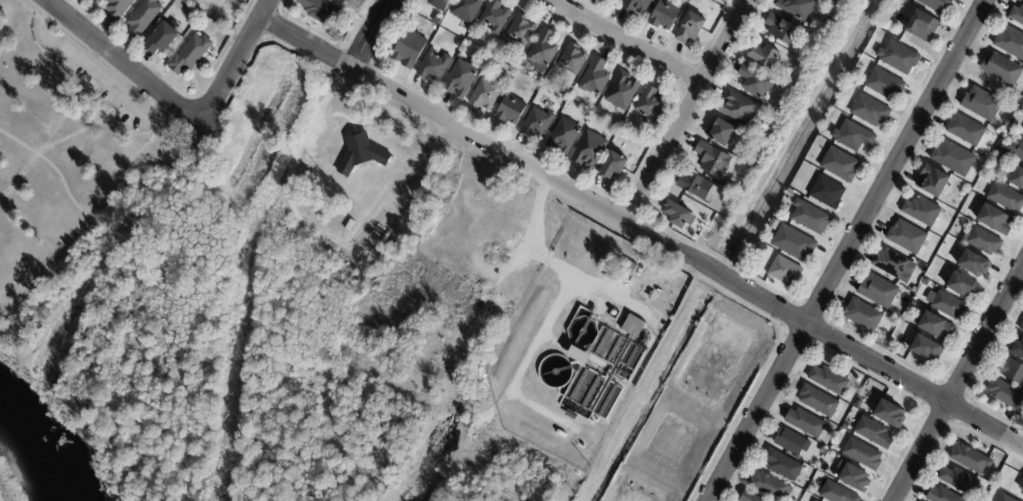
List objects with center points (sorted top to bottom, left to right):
building: (616, 0)
building: (329, 1)
building: (440, 3)
building: (935, 4)
building: (636, 6)
building: (120, 9)
building: (796, 9)
building: (465, 10)
building: (319, 13)
building: (1016, 14)
building: (663, 17)
building: (494, 18)
building: (146, 19)
building: (832, 23)
building: (921, 27)
building: (691, 29)
building: (781, 29)
building: (519, 31)
road: (367, 34)
building: (430, 37)
building: (469, 37)
building: (167, 38)
road: (626, 42)
building: (1010, 42)
road: (304, 43)
building: (409, 50)
building: (542, 52)
building: (194, 56)
building: (764, 56)
building: (897, 59)
building: (573, 60)
road: (120, 63)
road: (233, 63)
building: (432, 67)
building: (1001, 69)
road: (91, 71)
building: (459, 79)
building: (593, 79)
building: (753, 83)
building: (883, 85)
building: (621, 92)
building: (565, 93)
building: (485, 94)
building: (981, 103)
building: (649, 106)
road: (64, 109)
building: (737, 109)
road: (685, 110)
building: (510, 111)
building: (869, 112)
building: (536, 124)
building: (1012, 125)
building: (965, 129)
building: (719, 134)
building: (1009, 134)
building: (749, 137)
building: (852, 137)
road: (57, 138)
building: (562, 138)
park: (55, 148)
building: (1015, 150)
building: (588, 152)
building: (360, 153)
building: (953, 158)
road: (122, 160)
building: (711, 161)
building: (998, 162)
building: (839, 166)
building: (612, 167)
building: (1016, 176)
building: (932, 182)
building: (694, 186)
building: (826, 194)
building: (1005, 197)
building: (921, 211)
road: (536, 214)
building: (677, 217)
building: (809, 219)
building: (994, 220)
building: (773, 226)
building: (906, 237)
building: (983, 240)
building: (792, 245)
road: (846, 250)
building: (760, 251)
road: (685, 256)
building: (973, 263)
building: (893, 264)
building: (784, 272)
road: (576, 276)
building: (926, 283)
building: (961, 285)
building: (877, 291)
building: (651, 296)
road: (246, 300)
building: (912, 304)
building: (948, 305)
building: (593, 311)
building: (862, 315)
building: (934, 326)
building: (634, 327)
building: (1021, 329)
building: (925, 348)
building: (1017, 349)
building: (578, 354)
building: (1011, 371)
building: (829, 381)
road: (958, 382)
building: (1006, 395)
park: (307, 401)
building: (818, 402)
building: (888, 414)
building: (804, 423)
building: (845, 427)
building: (873, 433)
building: (790, 442)
building: (822, 450)
building: (862, 454)
building: (970, 459)
river: (31, 464)
building: (781, 465)
building: (853, 479)
building: (959, 481)
building: (1021, 484)
building: (768, 486)
building: (801, 493)
building: (836, 493)
building: (941, 495)
building: (749, 497)
building: (1005, 498)
building: (814, 500)

